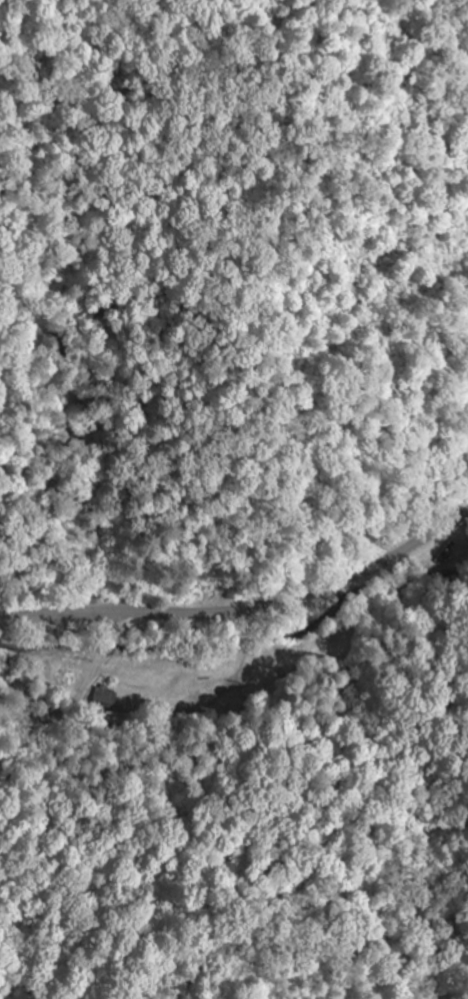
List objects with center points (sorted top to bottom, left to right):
road: (244, 609)

